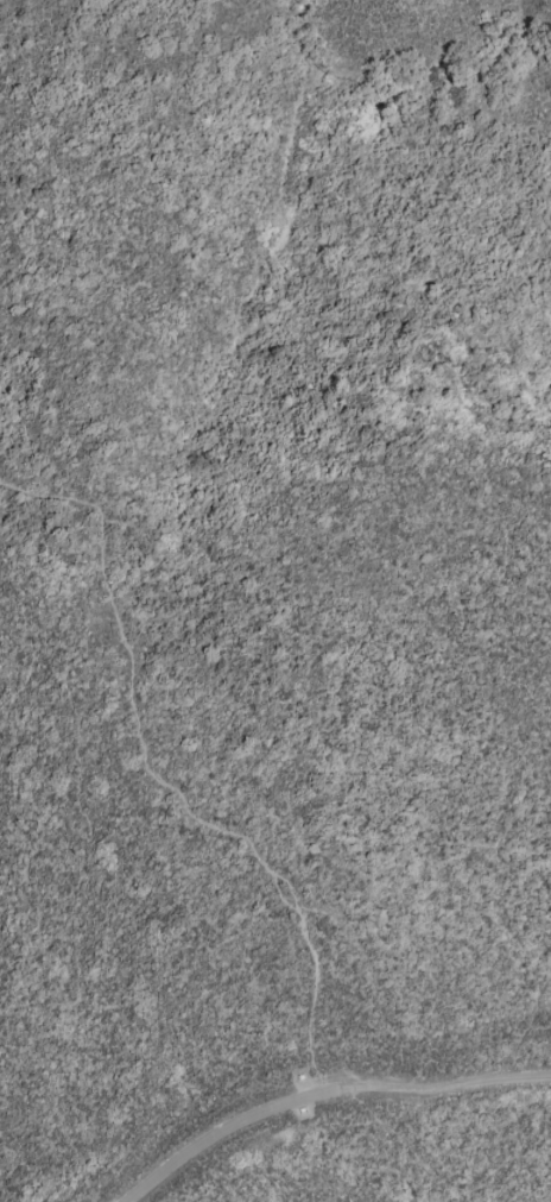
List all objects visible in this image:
road: (163, 778)
road: (76, 957)
road: (443, 1083)
road: (220, 1129)

